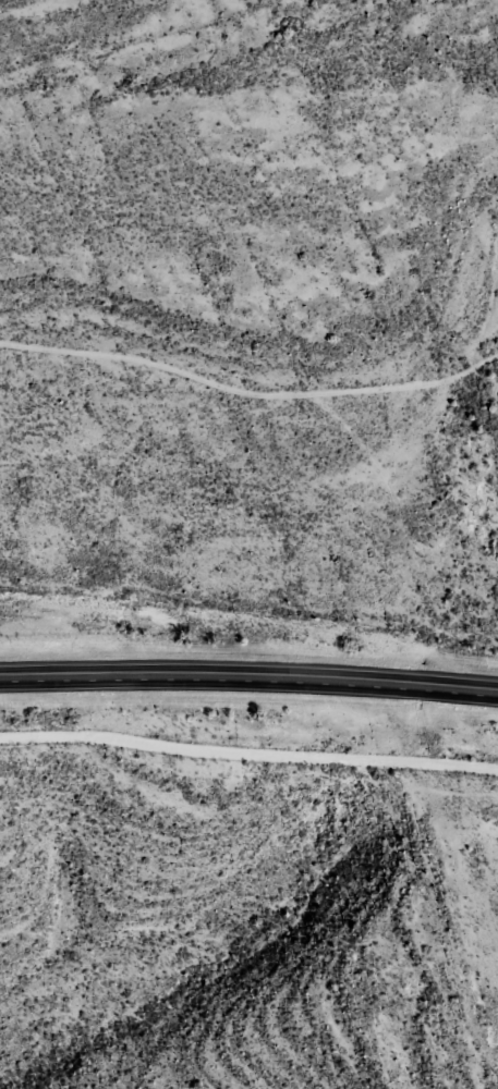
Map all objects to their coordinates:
road: (248, 676)

